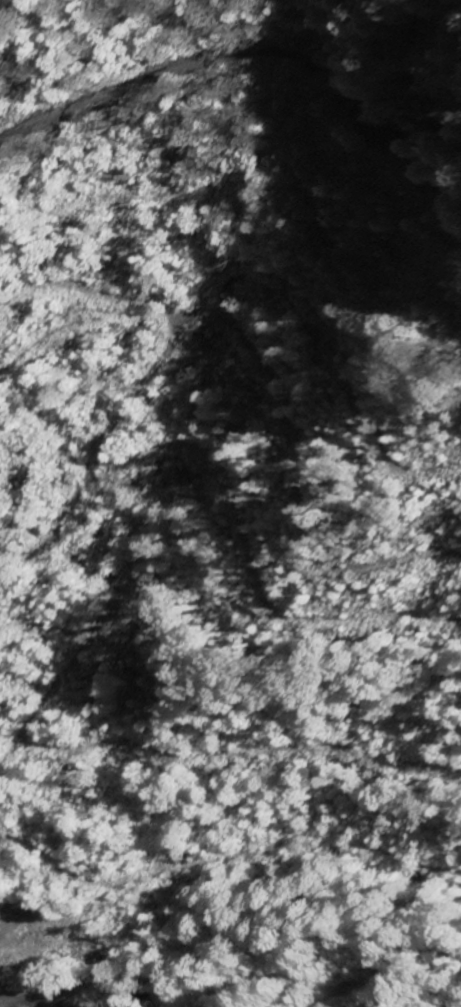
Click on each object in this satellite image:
road: (33, 999)

